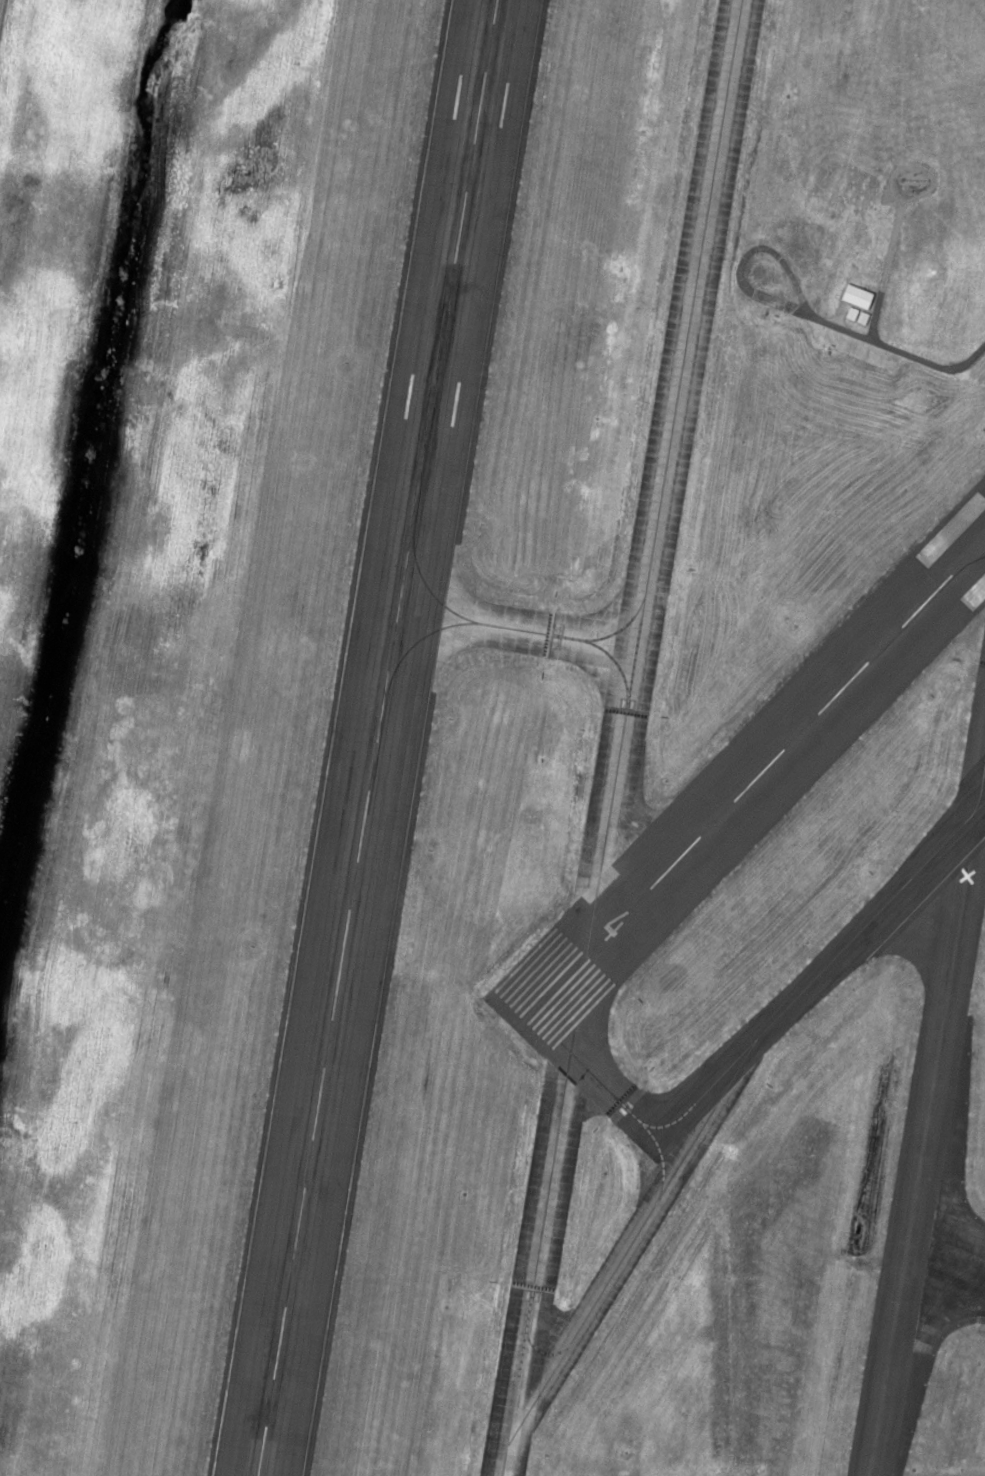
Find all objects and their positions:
building: (817, 230)
building: (806, 252)
airport taxiway: (668, 475)
airport taxiway: (520, 628)
airport runway: (378, 738)
airport: (492, 738)
airport runway: (751, 784)
airport taxiway: (983, 795)
airport taxiway: (715, 1083)
airport taxiway: (606, 1087)
airport taxiway: (539, 1265)

